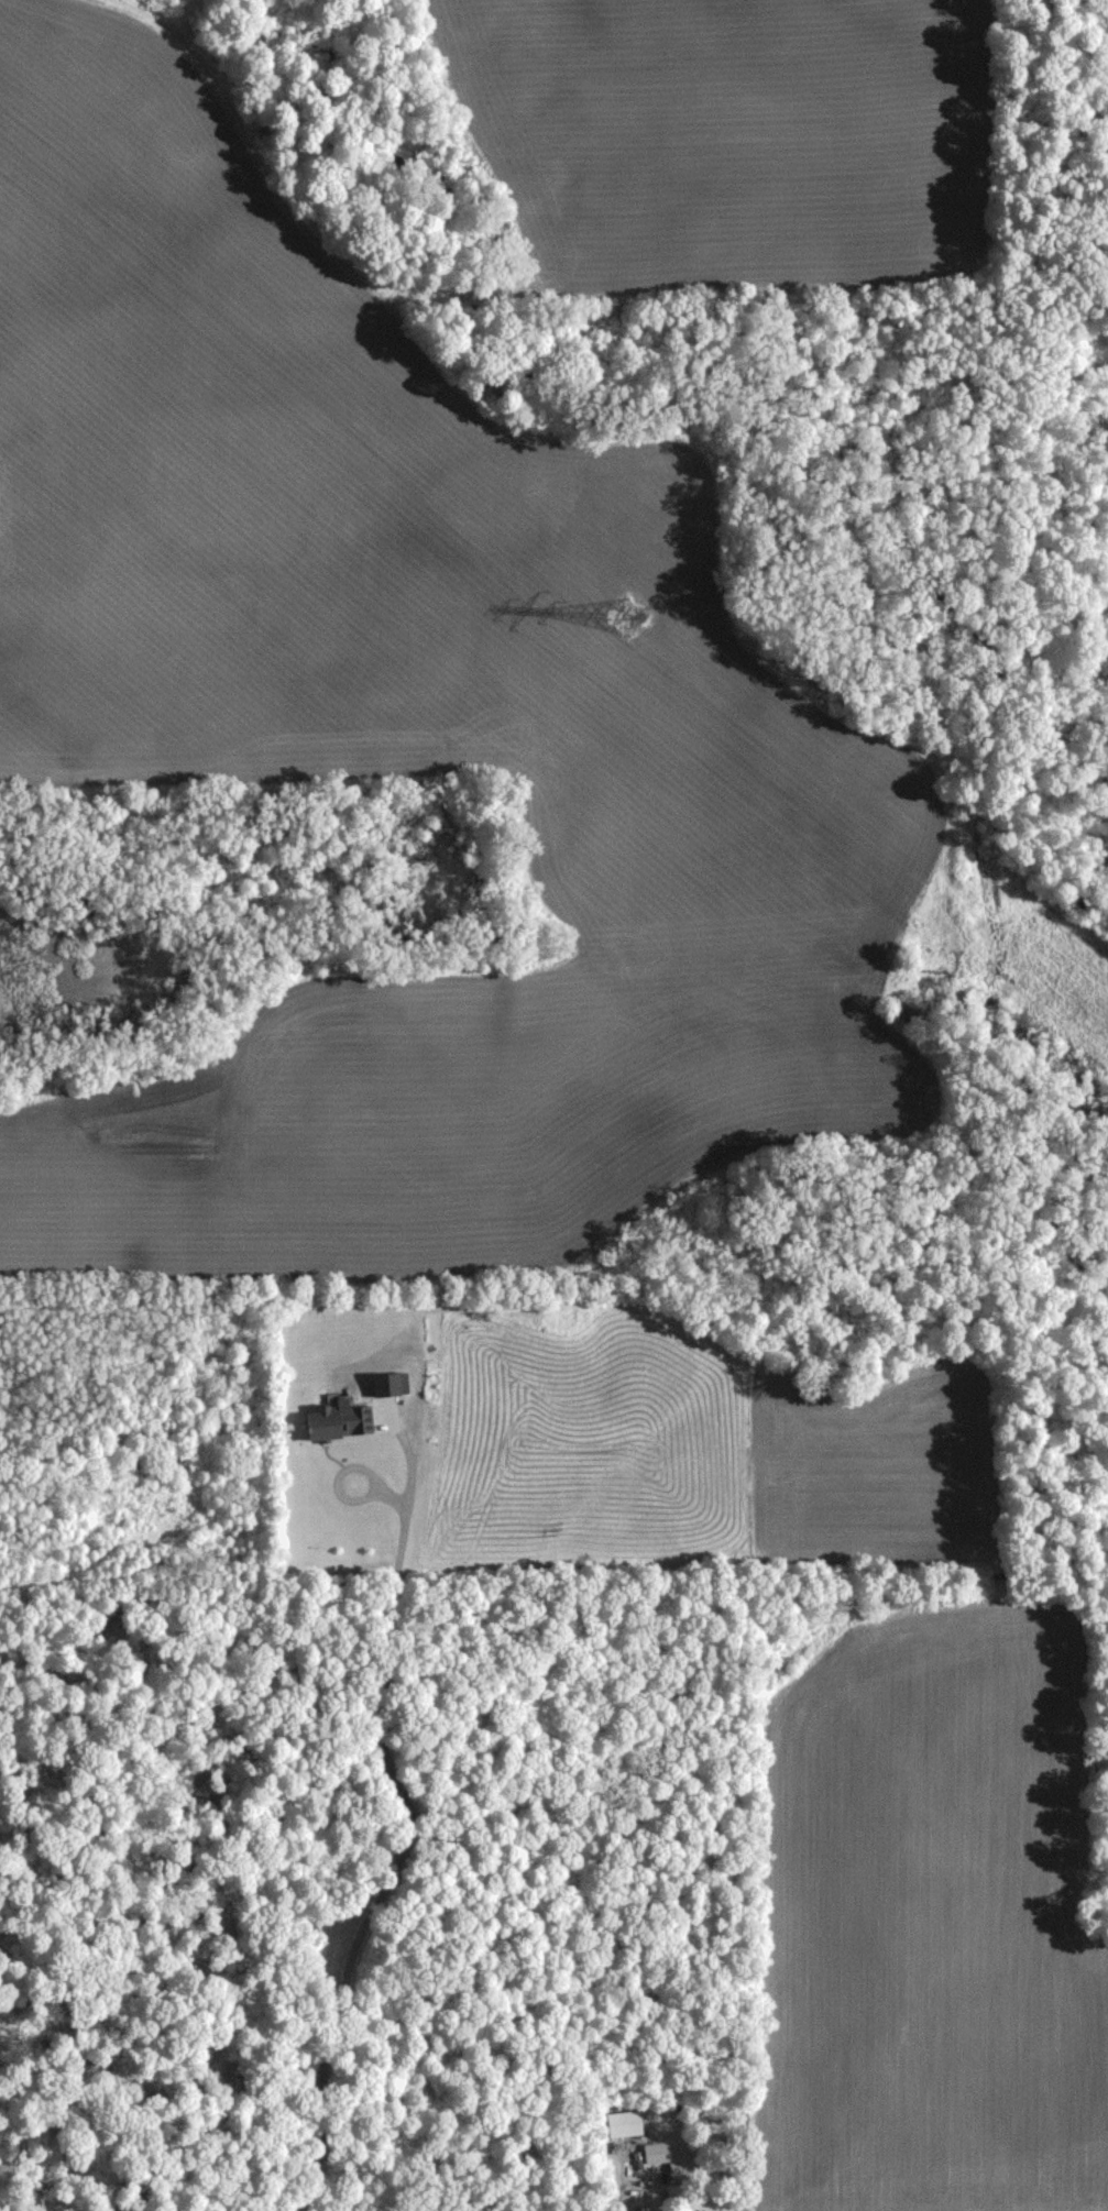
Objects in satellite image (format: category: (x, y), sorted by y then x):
power tower: (626, 619)
building: (331, 1420)
road: (409, 1813)
building: (662, 2154)

